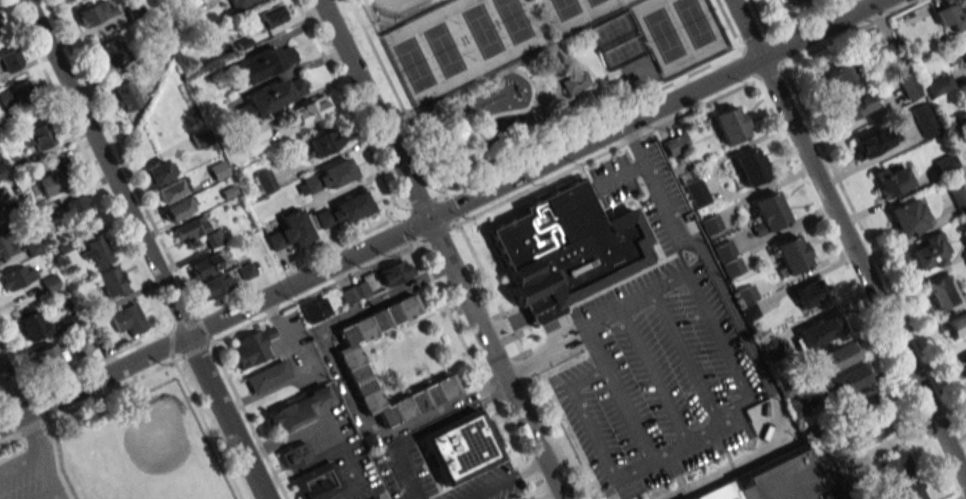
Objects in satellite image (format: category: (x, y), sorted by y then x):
building: (784, 0)
road: (199, 3)
building: (240, 3)
park: (396, 6)
building: (187, 10)
building: (96, 12)
building: (135, 12)
park: (579, 13)
building: (271, 15)
building: (952, 15)
road: (297, 18)
building: (0, 19)
road: (729, 26)
park: (678, 33)
park: (617, 39)
building: (243, 43)
road: (269, 43)
road: (281, 43)
park: (460, 44)
building: (153, 49)
building: (963, 50)
building: (108, 54)
building: (274, 58)
building: (9, 60)
building: (153, 68)
building: (245, 72)
road: (286, 72)
park: (525, 72)
building: (839, 72)
road: (290, 76)
building: (575, 82)
building: (908, 85)
building: (939, 85)
building: (284, 90)
building: (14, 94)
building: (125, 95)
road: (307, 96)
road: (397, 99)
building: (255, 104)
building: (855, 105)
building: (311, 108)
road: (348, 109)
building: (924, 120)
road: (589, 123)
building: (730, 124)
building: (252, 133)
building: (37, 138)
building: (201, 138)
building: (874, 141)
building: (321, 142)
building: (676, 144)
road: (603, 153)
road: (329, 157)
road: (121, 159)
building: (945, 164)
road: (90, 165)
road: (109, 166)
building: (751, 166)
road: (537, 168)
building: (219, 170)
building: (1, 172)
building: (157, 172)
building: (329, 175)
building: (54, 179)
building: (892, 180)
building: (265, 181)
road: (355, 184)
building: (171, 190)
building: (228, 192)
building: (698, 193)
road: (415, 194)
building: (958, 196)
road: (421, 204)
road: (451, 208)
building: (178, 209)
building: (344, 209)
building: (771, 211)
building: (78, 213)
building: (908, 217)
building: (711, 224)
road: (407, 230)
building: (187, 231)
building: (290, 231)
road: (436, 234)
building: (213, 239)
road: (850, 240)
road: (336, 241)
building: (6, 245)
building: (564, 248)
building: (724, 250)
building: (96, 252)
building: (928, 252)
building: (792, 254)
road: (301, 263)
building: (206, 264)
building: (734, 266)
building: (246, 271)
building: (393, 273)
building: (17, 276)
building: (112, 282)
road: (671, 282)
building: (214, 285)
building: (361, 290)
road: (315, 293)
building: (747, 294)
building: (348, 295)
building: (944, 295)
building: (810, 296)
building: (315, 310)
road: (447, 311)
road: (613, 312)
building: (749, 312)
building: (128, 319)
road: (184, 319)
building: (32, 324)
building: (956, 324)
road: (203, 329)
building: (820, 331)
road: (720, 337)
road: (745, 337)
road: (172, 344)
road: (597, 346)
building: (252, 347)
building: (771, 348)
road: (194, 351)
road: (214, 351)
road: (684, 354)
building: (835, 356)
building: (48, 357)
road: (540, 357)
road: (101, 359)
road: (524, 359)
building: (350, 361)
road: (15, 362)
building: (962, 366)
road: (374, 371)
road: (108, 373)
building: (268, 376)
road: (654, 378)
building: (846, 379)
parking lot: (658, 381)
road: (345, 386)
road: (12, 387)
building: (786, 389)
road: (113, 391)
road: (3, 397)
road: (18, 400)
building: (861, 400)
road: (4, 406)
building: (796, 408)
road: (733, 409)
building: (294, 410)
road: (456, 415)
road: (632, 415)
road: (227, 416)
road: (13, 420)
road: (30, 424)
road: (718, 424)
building: (870, 426)
road: (207, 427)
road: (33, 430)
building: (808, 432)
road: (594, 433)
road: (11, 440)
road: (42, 440)
road: (537, 443)
road: (688, 446)
park: (154, 447)
building: (460, 447)
road: (18, 450)
road: (335, 450)
building: (295, 454)
building: (824, 459)
road: (56, 462)
building: (889, 469)
road: (401, 471)
parking lot: (30, 476)
building: (781, 478)
road: (509, 480)
building: (317, 482)
building: (836, 486)
building: (719, 492)
road: (46, 494)
building: (372, 498)
building: (377, 498)
parking lot: (514, 498)

